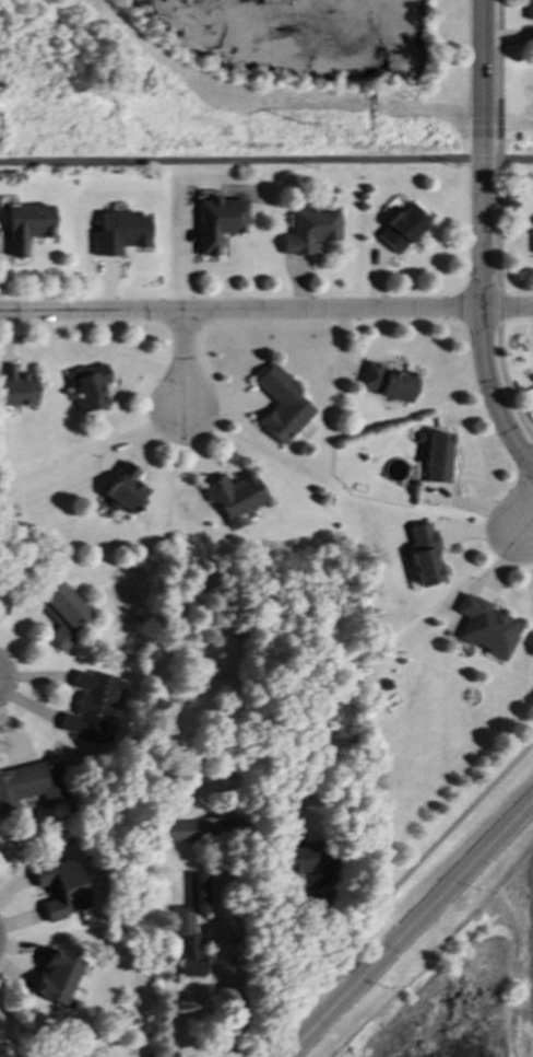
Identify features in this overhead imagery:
building: (529, 9)
power tower: (321, 125)
road: (482, 154)
road: (265, 161)
building: (218, 222)
road: (498, 222)
building: (26, 226)
building: (402, 228)
building: (309, 230)
building: (120, 233)
road: (265, 309)
road: (185, 359)
building: (387, 383)
building: (15, 387)
building: (90, 387)
road: (490, 392)
building: (282, 405)
building: (438, 457)
building: (123, 492)
building: (234, 497)
road: (526, 526)
building: (423, 554)
building: (61, 614)
building: (486, 628)
building: (91, 706)
building: (31, 786)
building: (194, 832)
building: (299, 861)
building: (61, 888)
road: (387, 894)
building: (191, 926)
road: (329, 929)
road: (410, 932)
building: (57, 977)
road: (213, 989)

